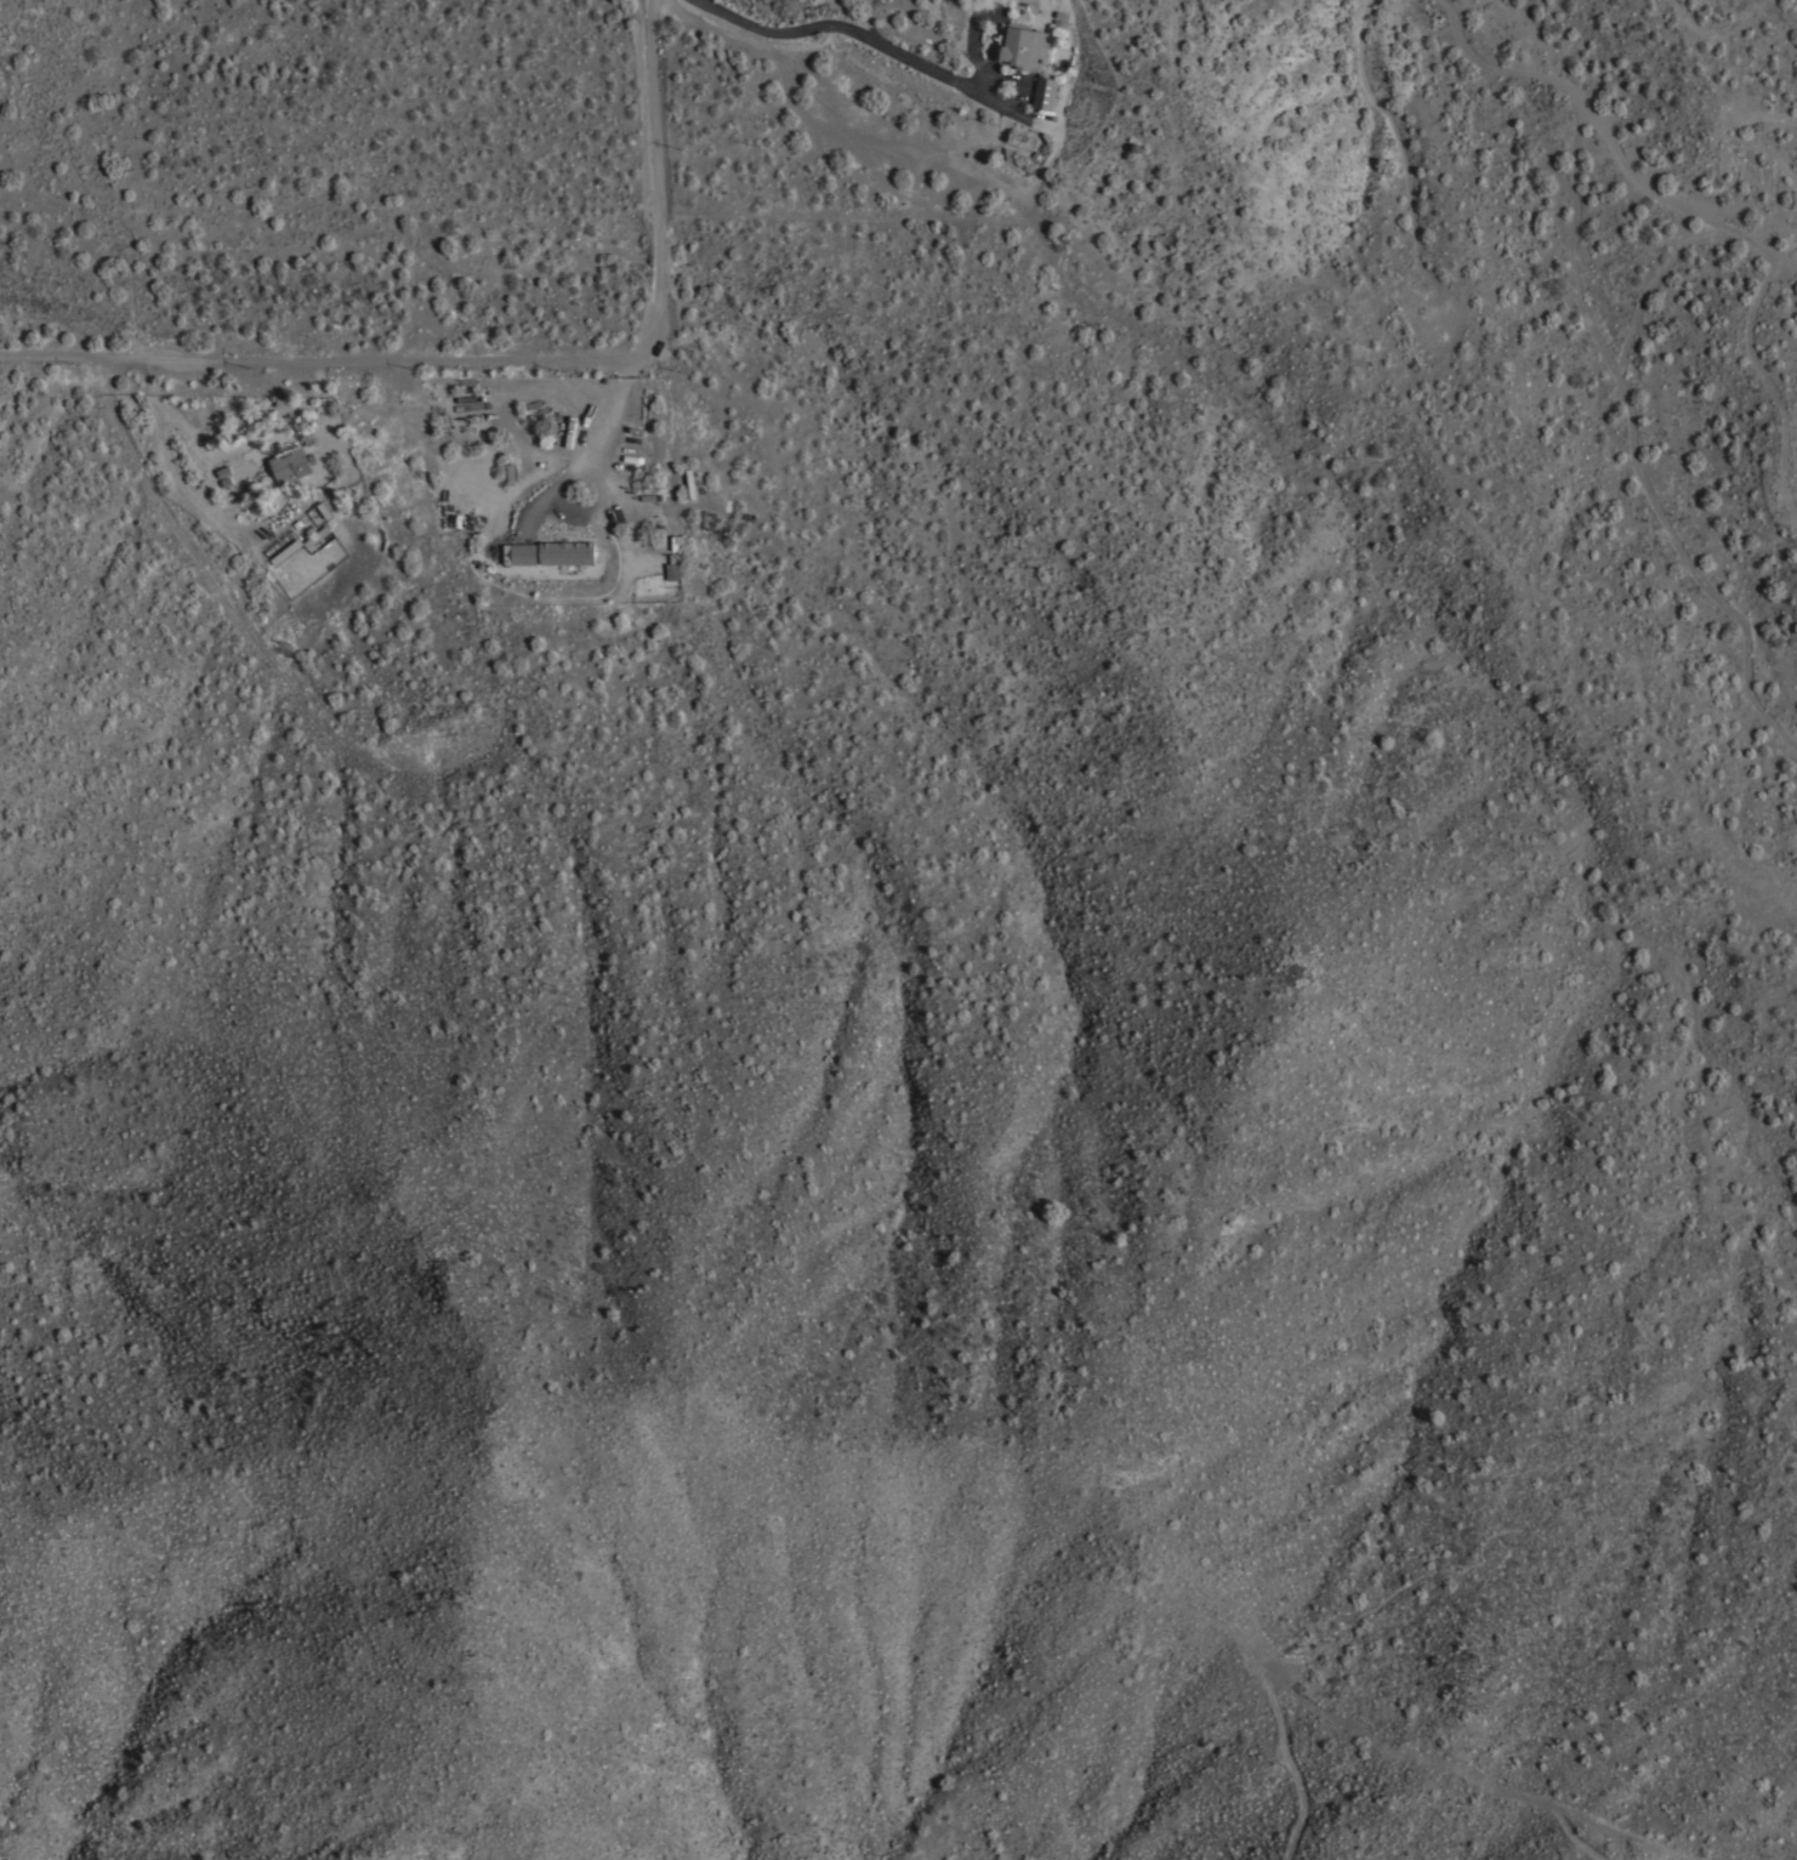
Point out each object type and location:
road: (843, 32)
building: (1028, 57)
road: (504, 355)
building: (290, 463)
building: (286, 551)
building: (565, 551)
building: (523, 552)
building: (672, 565)

